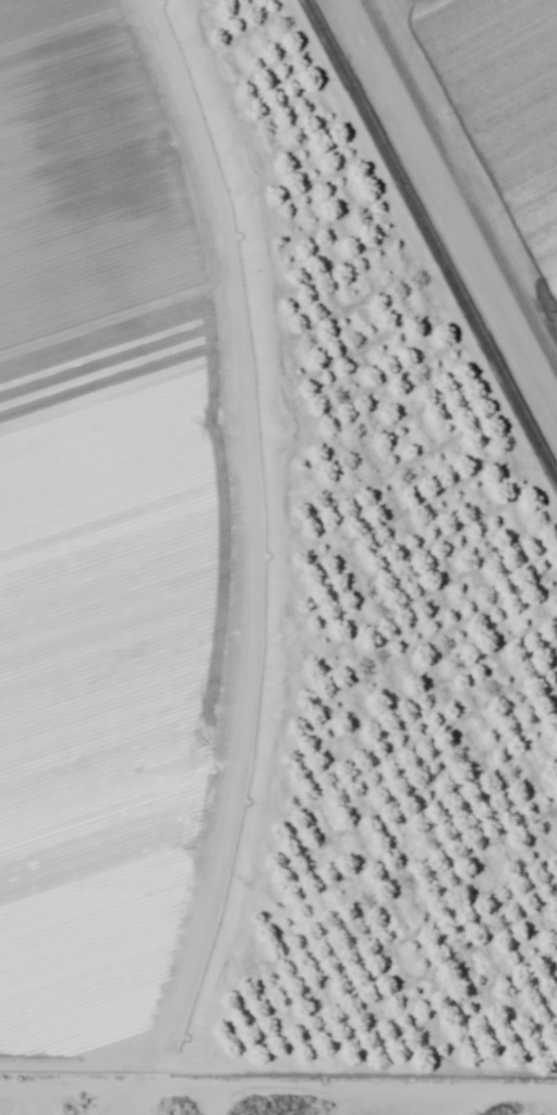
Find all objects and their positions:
crop: (502, 105)
road: (469, 171)
railway: (431, 242)
crop: (126, 528)
road: (278, 1096)
road: (136, 1105)
road: (373, 1105)

